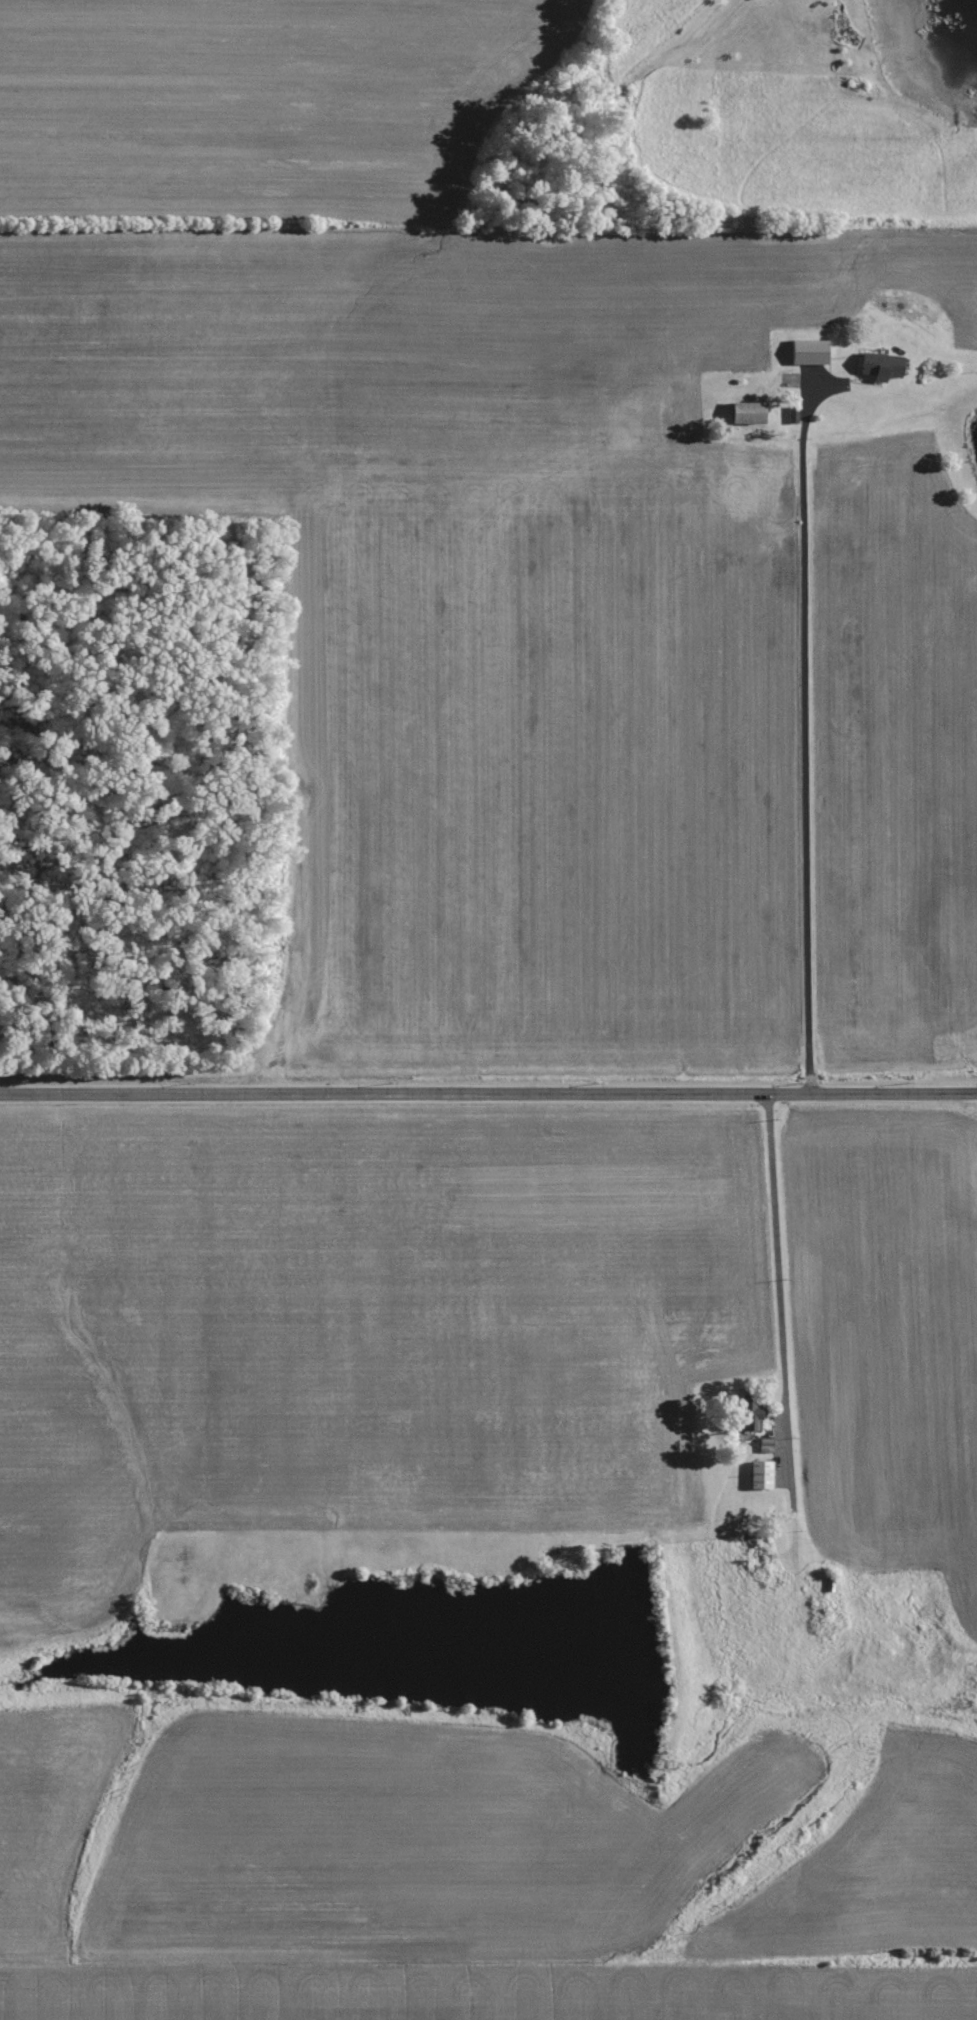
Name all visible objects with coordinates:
crop: (256, 101)
building: (808, 352)
building: (880, 366)
building: (747, 413)
road: (805, 746)
road: (488, 1096)
road: (783, 1325)
building: (749, 1416)
building: (760, 1476)

